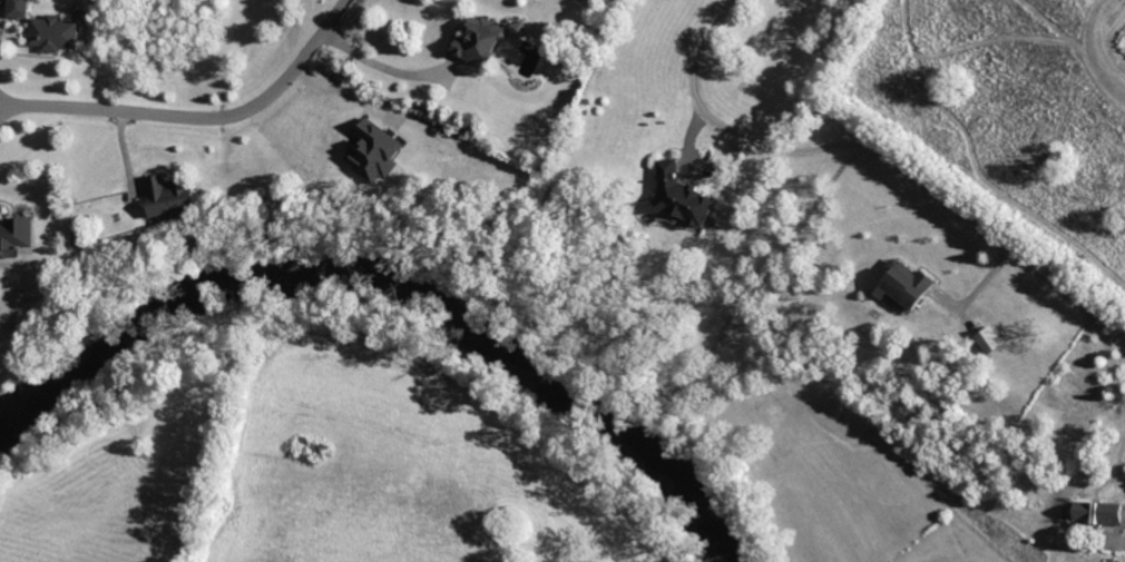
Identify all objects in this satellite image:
building: (16, 8)
building: (51, 33)
building: (473, 39)
road: (384, 63)
road: (199, 118)
building: (373, 150)
road: (898, 168)
building: (169, 196)
building: (677, 197)
building: (16, 236)
river: (383, 284)
building: (901, 284)
building: (987, 339)
building: (1095, 513)

